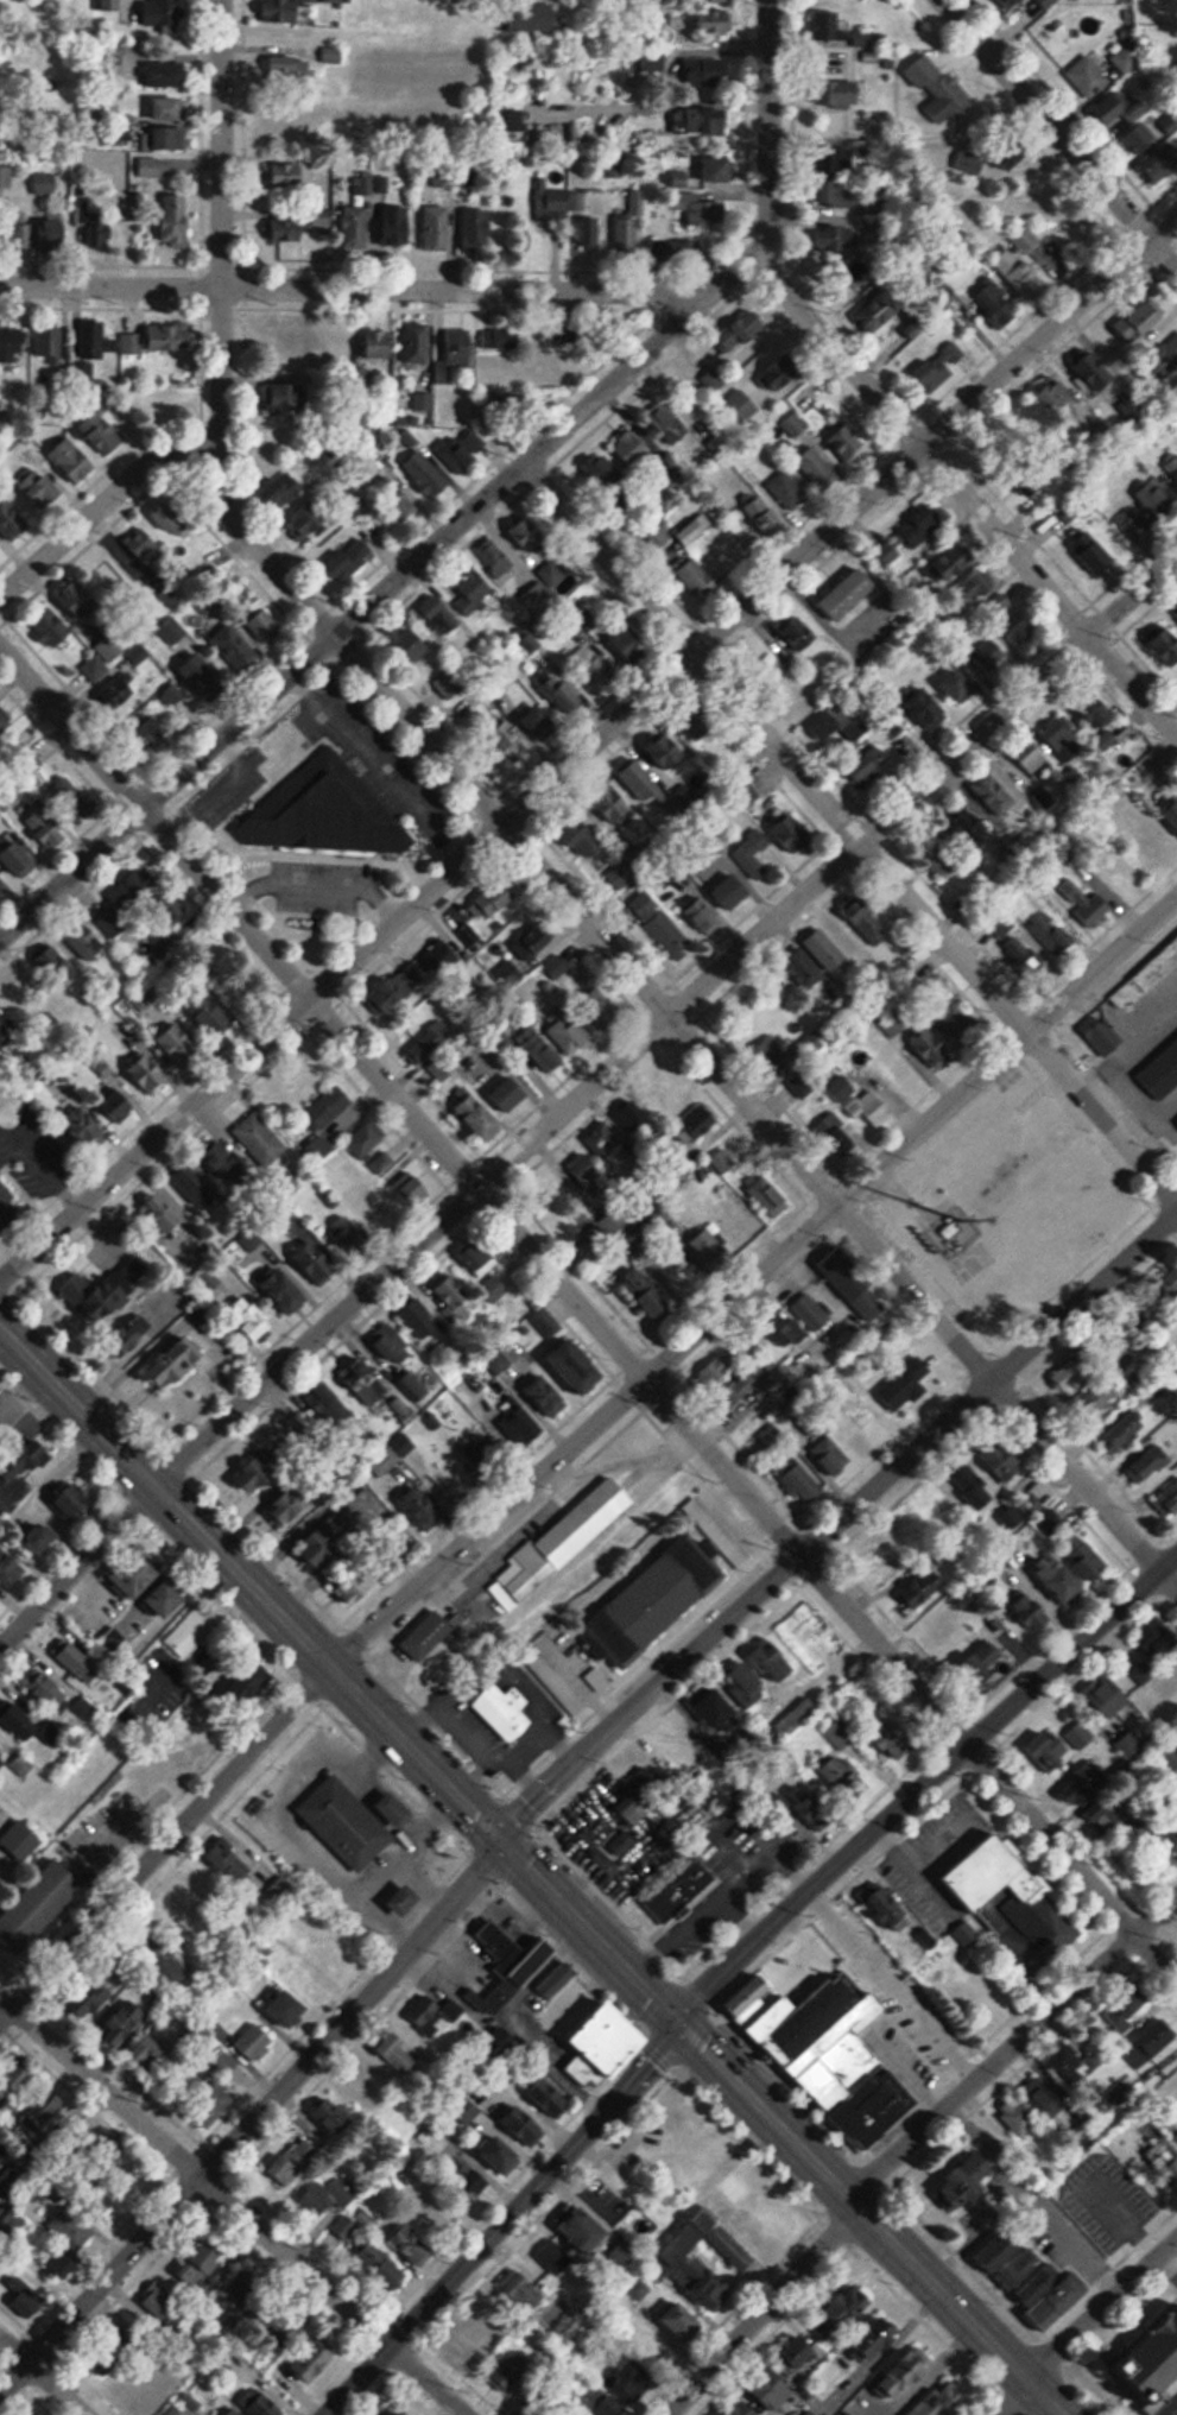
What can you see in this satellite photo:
building: (716, 0)
building: (334, 1)
building: (1012, 2)
building: (1045, 4)
building: (286, 12)
building: (162, 13)
building: (714, 21)
building: (827, 26)
building: (862, 39)
building: (1125, 59)
building: (291, 70)
building: (705, 72)
building: (166, 74)
building: (1087, 76)
building: (949, 93)
building: (843, 94)
building: (1114, 107)
building: (170, 109)
building: (322, 113)
building: (511, 116)
building: (708, 120)
building: (286, 127)
road: (1059, 134)
building: (177, 139)
building: (988, 160)
building: (148, 167)
building: (719, 170)
building: (287, 172)
building: (6, 177)
building: (45, 183)
building: (835, 195)
building: (1050, 202)
building: (557, 206)
building: (705, 214)
building: (95, 219)
building: (176, 221)
building: (437, 222)
building: (626, 222)
road: (221, 223)
building: (295, 226)
building: (398, 226)
building: (356, 228)
building: (477, 228)
building: (53, 232)
building: (593, 234)
building: (833, 236)
building: (1025, 240)
building: (677, 251)
building: (1018, 274)
road: (353, 290)
building: (994, 308)
building: (875, 311)
building: (565, 333)
building: (502, 337)
building: (286, 339)
building: (133, 340)
building: (11, 343)
building: (416, 343)
building: (374, 346)
building: (50, 347)
building: (1170, 349)
building: (454, 352)
building: (527, 368)
building: (1091, 371)
building: (781, 372)
building: (935, 372)
building: (715, 379)
building: (1055, 397)
building: (283, 400)
building: (510, 404)
building: (739, 406)
building: (666, 422)
building: (793, 425)
building: (101, 435)
building: (846, 442)
building: (632, 448)
building: (460, 454)
building: (72, 460)
building: (817, 468)
building: (605, 474)
building: (426, 475)
building: (42, 489)
building: (281, 489)
building: (787, 493)
road: (964, 497)
road: (100, 505)
building: (1071, 505)
road: (472, 508)
building: (171, 519)
building: (760, 519)
building: (312, 520)
building: (920, 523)
building: (7, 526)
building: (658, 537)
building: (145, 546)
building: (887, 555)
building: (496, 558)
building: (954, 562)
building: (346, 564)
building: (109, 568)
building: (550, 574)
building: (696, 577)
building: (975, 590)
building: (469, 592)
building: (848, 595)
building: (78, 600)
building: (999, 605)
building: (439, 615)
building: (1015, 624)
building: (265, 627)
building: (172, 632)
building: (797, 632)
building: (55, 634)
building: (412, 644)
building: (631, 644)
building: (236, 647)
building: (988, 657)
building: (103, 658)
building: (774, 659)
building: (203, 677)
building: (593, 679)
building: (958, 685)
road: (296, 690)
building: (116, 694)
building: (924, 708)
building: (157, 716)
building: (834, 717)
building: (540, 723)
building: (1076, 728)
building: (5, 731)
road: (252, 738)
building: (511, 742)
road: (401, 745)
road: (588, 747)
road: (227, 750)
building: (667, 752)
building: (1034, 760)
parking lot: (381, 763)
building: (863, 769)
building: (646, 785)
parking lot: (232, 786)
building: (65, 788)
building: (993, 795)
building: (612, 807)
building: (328, 813)
building: (45, 827)
road: (850, 832)
building: (792, 835)
building: (951, 837)
road: (455, 840)
building: (581, 840)
building: (1151, 848)
road: (230, 855)
building: (753, 855)
building: (15, 856)
road: (328, 859)
road: (236, 879)
parking lot: (321, 886)
building: (4, 890)
building: (734, 892)
road: (247, 893)
building: (1084, 898)
road: (391, 908)
building: (701, 915)
road: (366, 916)
building: (659, 925)
building: (842, 935)
building: (1176, 940)
building: (89, 946)
building: (512, 948)
building: (825, 952)
building: (442, 959)
building: (56, 967)
building: (803, 969)
building: (401, 988)
building: (600, 1011)
road: (665, 1018)
building: (214, 1022)
road: (679, 1028)
building: (568, 1032)
building: (1101, 1037)
building: (811, 1044)
building: (181, 1048)
building: (540, 1051)
building: (773, 1057)
building: (1159, 1073)
building: (147, 1079)
building: (302, 1083)
building: (799, 1087)
building: (841, 1089)
building: (511, 1096)
building: (118, 1105)
building: (868, 1107)
building: (329, 1109)
building: (480, 1119)
building: (671, 1119)
building: (696, 1125)
building: (88, 1133)
building: (836, 1138)
building: (260, 1140)
building: (605, 1144)
building: (371, 1146)
building: (317, 1152)
building: (224, 1165)
building: (586, 1176)
building: (194, 1188)
building: (410, 1189)
building: (768, 1197)
building: (8, 1213)
building: (165, 1214)
building: (374, 1216)
building: (606, 1231)
building: (349, 1238)
building: (713, 1250)
building: (481, 1259)
building: (316, 1263)
road: (753, 1281)
building: (855, 1284)
building: (120, 1291)
building: (284, 1291)
building: (645, 1291)
building: (450, 1297)
road: (590, 1314)
building: (249, 1319)
building: (420, 1319)
building: (801, 1321)
building: (546, 1323)
building: (393, 1345)
building: (176, 1364)
building: (576, 1367)
building: (743, 1385)
building: (413, 1387)
building: (470, 1393)
building: (548, 1396)
building: (894, 1398)
building: (1099, 1398)
building: (403, 1410)
building: (814, 1424)
building: (858, 1430)
building: (1124, 1433)
building: (506, 1442)
building: (391, 1454)
building: (831, 1455)
building: (24, 1460)
building: (1006, 1461)
building: (1152, 1461)
building: (258, 1471)
building: (801, 1482)
building: (969, 1490)
building: (1171, 1496)
building: (77, 1503)
building: (291, 1504)
building: (944, 1504)
road: (835, 1524)
building: (42, 1538)
building: (562, 1542)
building: (323, 1543)
building: (897, 1545)
building: (729, 1547)
road: (77, 1566)
building: (11, 1567)
building: (1074, 1572)
building: (138, 1574)
building: (360, 1583)
building: (169, 1598)
building: (656, 1601)
building: (1033, 1614)
building: (943, 1627)
building: (191, 1632)
building: (428, 1635)
building: (809, 1635)
building: (114, 1639)
building: (565, 1642)
building: (774, 1661)
building: (983, 1663)
building: (1137, 1668)
building: (552, 1679)
building: (599, 1680)
building: (252, 1681)
building: (747, 1684)
building: (50, 1692)
building: (1106, 1696)
building: (715, 1707)
building: (504, 1713)
building: (20, 1722)
building: (841, 1736)
building: (894, 1739)
building: (1132, 1749)
building: (1052, 1753)
building: (2, 1758)
building: (21, 1765)
building: (846, 1781)
road: (925, 1788)
building: (646, 1790)
road: (988, 1798)
building: (1093, 1800)
building: (398, 1809)
building: (817, 1809)
building: (347, 1822)
road: (896, 1836)
traffic signals: (499, 1839)
building: (21, 1840)
road: (165, 1844)
road: (882, 1845)
road: (1027, 1850)
parking lot: (934, 1860)
building: (229, 1861)
road: (530, 1871)
building: (682, 1891)
building: (197, 1898)
building: (407, 1899)
building: (1010, 1901)
building: (29, 1915)
building: (165, 1941)
road: (1000, 1951)
building: (510, 1966)
building: (309, 1984)
road: (1038, 1987)
road: (894, 1990)
building: (95, 1996)
building: (563, 1998)
building: (289, 2008)
building: (1126, 2012)
building: (434, 2015)
building: (802, 2017)
building: (125, 2024)
building: (254, 2041)
building: (1150, 2044)
building: (608, 2047)
road: (1014, 2049)
building: (396, 2050)
building: (150, 2052)
building: (1069, 2067)
building: (369, 2091)
building: (551, 2093)
building: (1045, 2100)
building: (214, 2104)
building: (45, 2105)
building: (329, 2116)
building: (1017, 2118)
road: (254, 2119)
building: (525, 2124)
building: (498, 2150)
building: (1160, 2155)
building: (292, 2157)
building: (14, 2174)
building: (469, 2179)
building: (139, 2182)
building: (966, 2187)
building: (334, 2192)
road: (232, 2206)
building: (437, 2219)
road: (502, 2220)
building: (582, 2226)
building: (71, 2227)
building: (411, 2244)
building: (681, 2246)
building: (1005, 2255)
building: (203, 2262)
building: (382, 2268)
building: (61, 2269)
building: (707, 2284)
building: (232, 2289)
building: (532, 2295)
building: (27, 2299)
building: (1061, 2301)
building: (157, 2307)
road: (757, 2307)
building: (847, 2310)
road: (1102, 2310)
building: (683, 2321)
building: (487, 2339)
building: (878, 2339)
building: (805, 2354)
building: (319, 2360)
building: (514, 2365)
road: (43, 2376)
building: (1151, 2383)
building: (145, 2386)
building: (778, 2389)
road: (1013, 2397)
building: (260, 2403)
building: (606, 2404)
building: (748, 2410)
building: (234, 2411)
building: (176, 2413)

